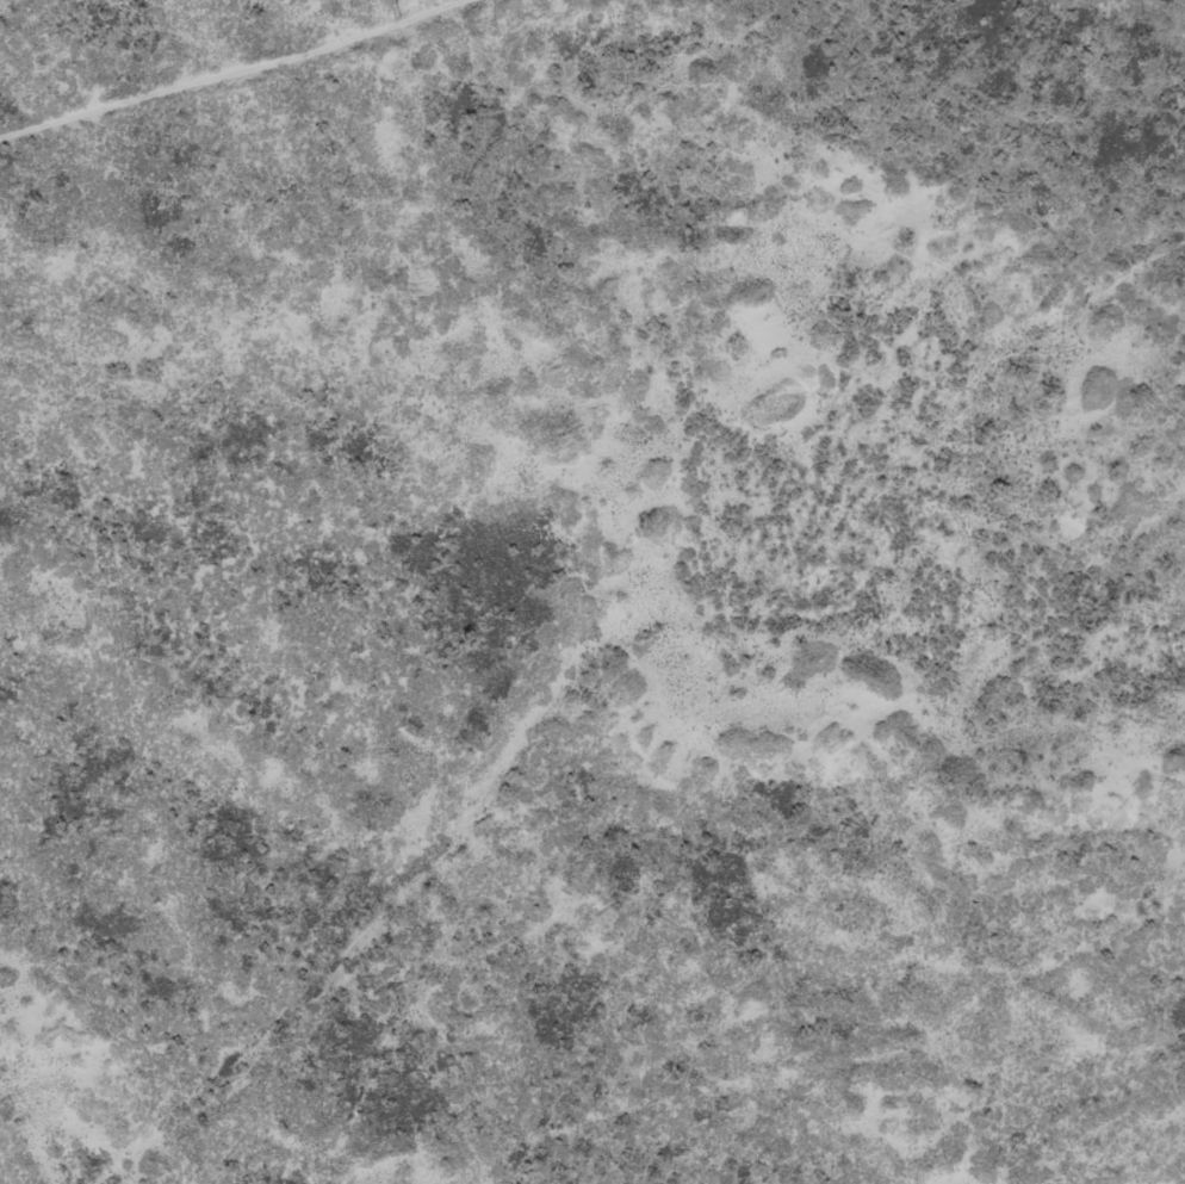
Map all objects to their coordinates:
power tower: (397, 12)

